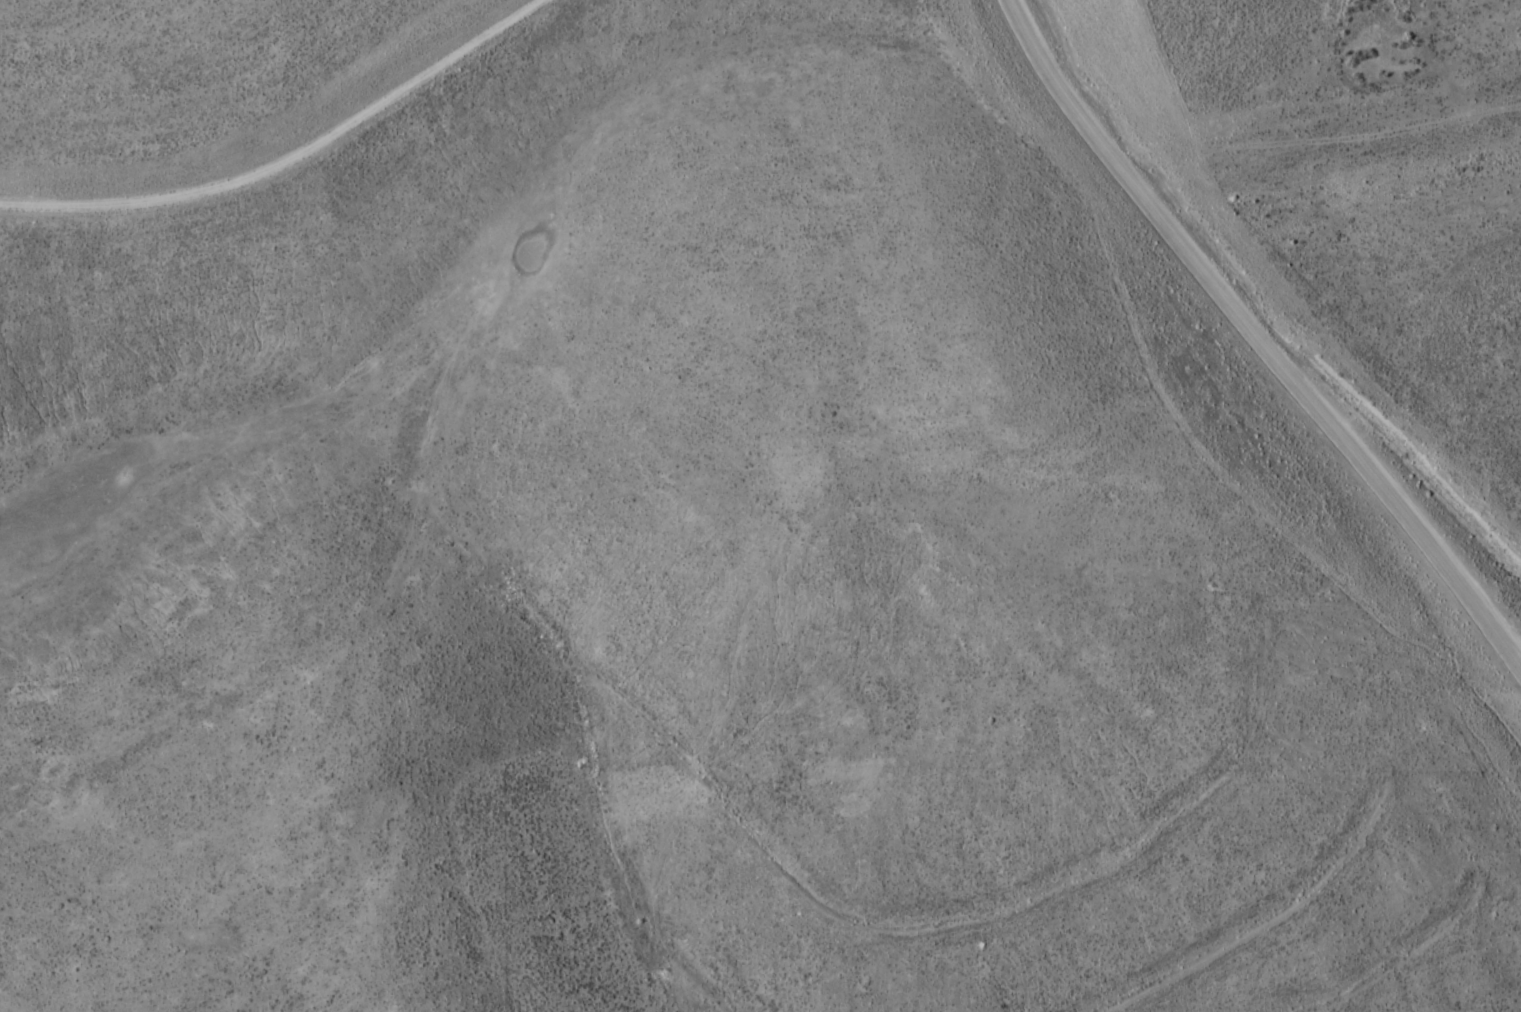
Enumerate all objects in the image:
road: (409, 65)
road: (162, 184)
road: (1270, 344)

